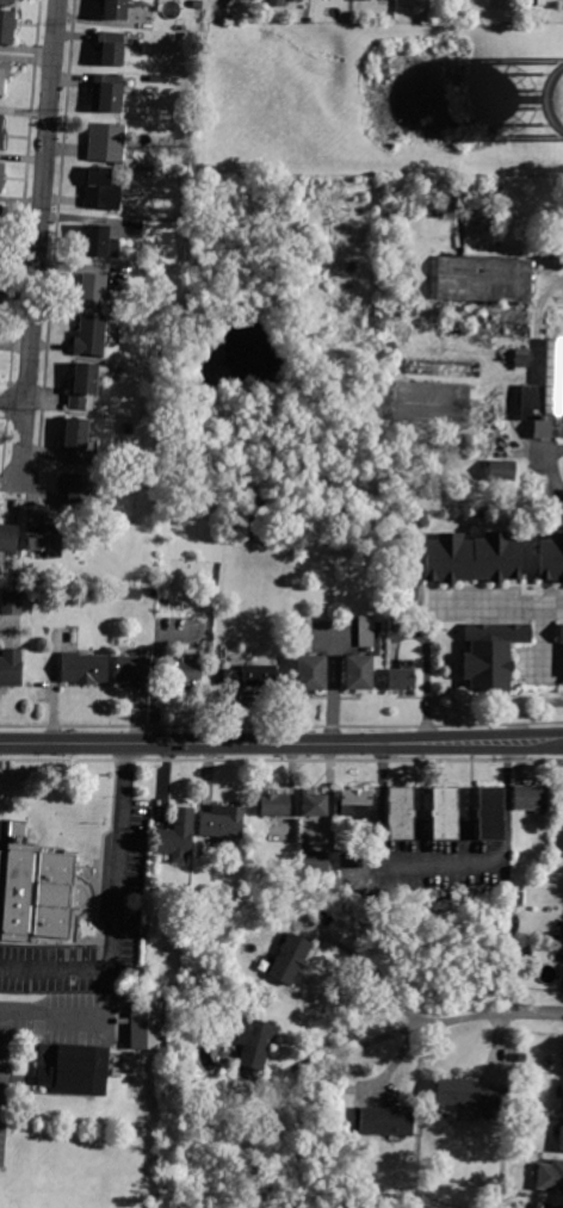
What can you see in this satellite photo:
building: (299, 0)
building: (366, 0)
building: (7, 1)
building: (276, 1)
building: (198, 5)
building: (115, 10)
building: (7, 26)
building: (111, 48)
building: (4, 73)
building: (156, 79)
building: (107, 93)
building: (556, 95)
building: (171, 113)
building: (1, 132)
building: (106, 142)
building: (1, 175)
building: (101, 190)
building: (175, 213)
building: (1, 225)
building: (98, 242)
road: (38, 243)
building: (397, 244)
road: (559, 285)
building: (91, 290)
building: (488, 295)
building: (89, 336)
building: (521, 360)
building: (445, 368)
building: (85, 384)
building: (549, 386)
road: (12, 401)
building: (433, 401)
building: (76, 440)
building: (502, 471)
road: (550, 473)
building: (75, 493)
building: (532, 496)
building: (8, 538)
building: (44, 538)
building: (478, 557)
building: (552, 558)
building: (67, 590)
building: (132, 594)
building: (12, 603)
road: (503, 606)
building: (366, 631)
building: (395, 632)
road: (542, 642)
building: (562, 648)
building: (493, 657)
building: (308, 659)
building: (11, 668)
building: (83, 668)
building: (134, 671)
building: (186, 671)
building: (358, 673)
building: (247, 676)
building: (401, 680)
road: (281, 724)
road: (278, 744)
road: (559, 744)
road: (281, 757)
building: (531, 798)
road: (507, 799)
road: (381, 800)
building: (354, 804)
building: (274, 805)
building: (315, 805)
building: (445, 812)
building: (400, 813)
building: (490, 813)
building: (222, 822)
building: (177, 836)
road: (444, 860)
building: (316, 861)
building: (553, 862)
building: (354, 863)
building: (355, 873)
building: (38, 892)
building: (518, 898)
road: (117, 909)
building: (530, 952)
building: (290, 959)
road: (377, 973)
road: (58, 1011)
building: (148, 1024)
road: (415, 1027)
building: (255, 1042)
building: (521, 1058)
building: (75, 1068)
building: (470, 1095)
park: (81, 1097)
building: (562, 1102)
building: (448, 1114)
building: (386, 1122)
building: (561, 1136)
building: (550, 1177)
building: (551, 1206)

